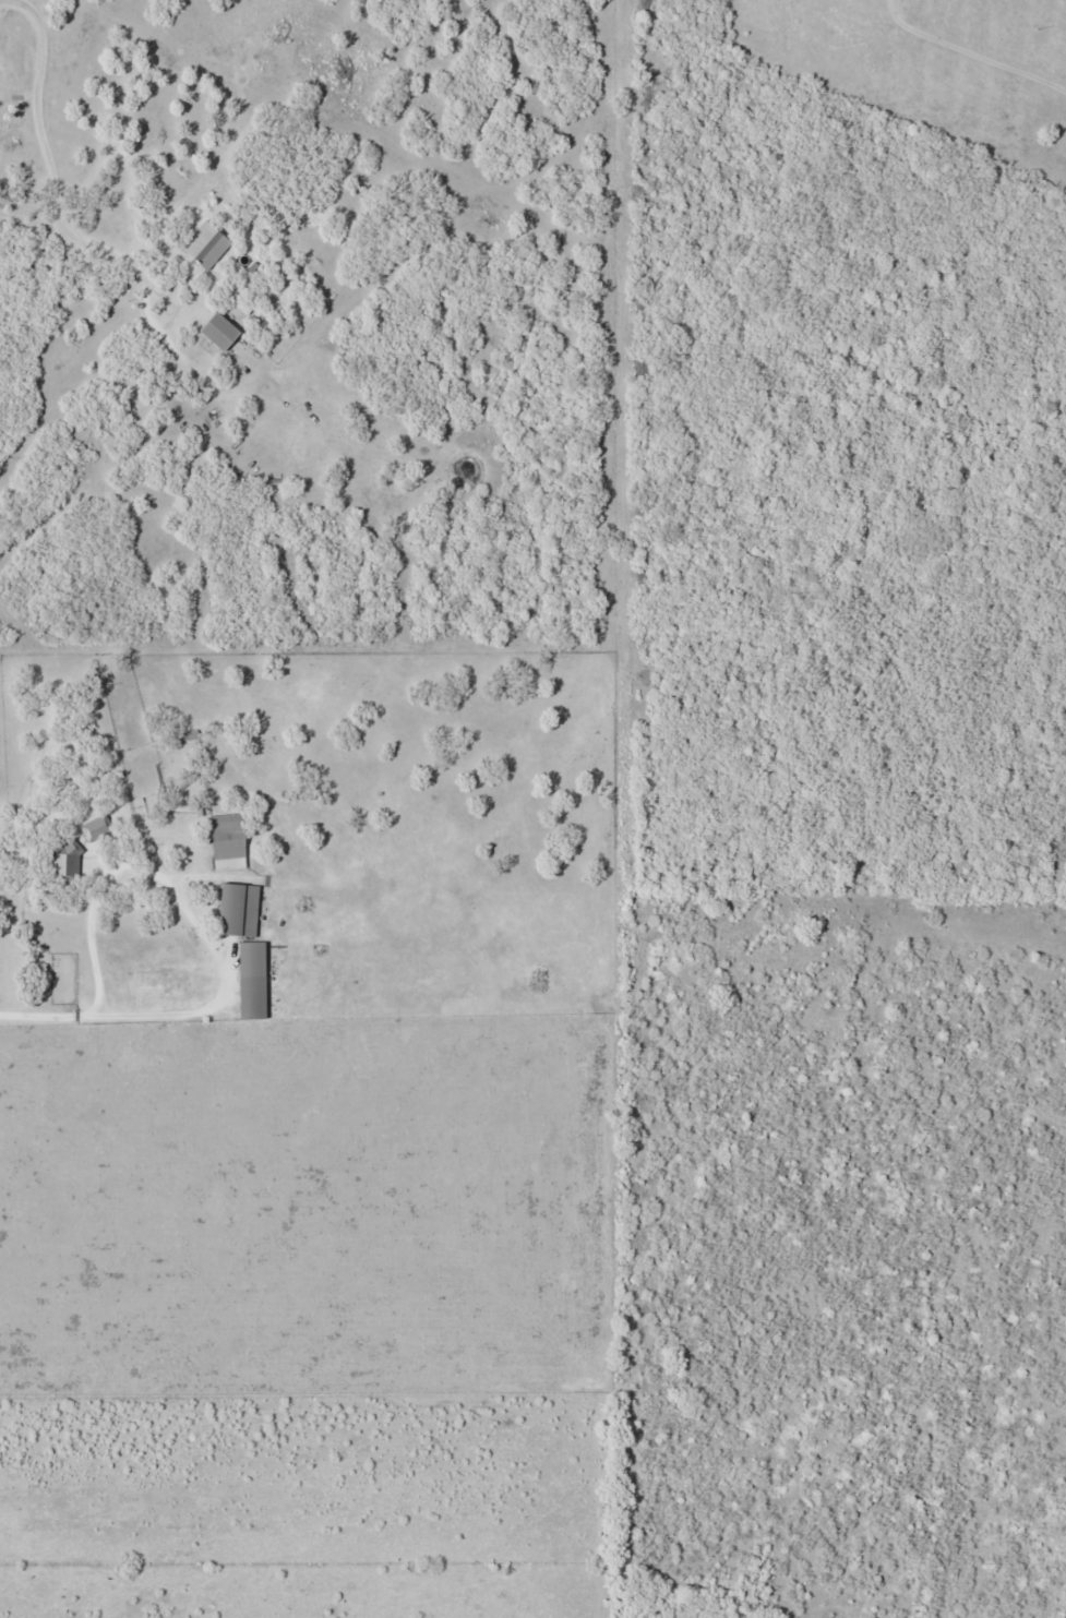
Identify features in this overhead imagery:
road: (3, 0)
road: (59, 202)
building: (168, 215)
building: (205, 241)
building: (254, 264)
building: (213, 277)
building: (245, 304)
building: (219, 326)
building: (96, 827)
building: (228, 835)
building: (67, 856)
road: (144, 863)
building: (238, 904)
building: (251, 975)
road: (146, 1008)
road: (43, 1016)

